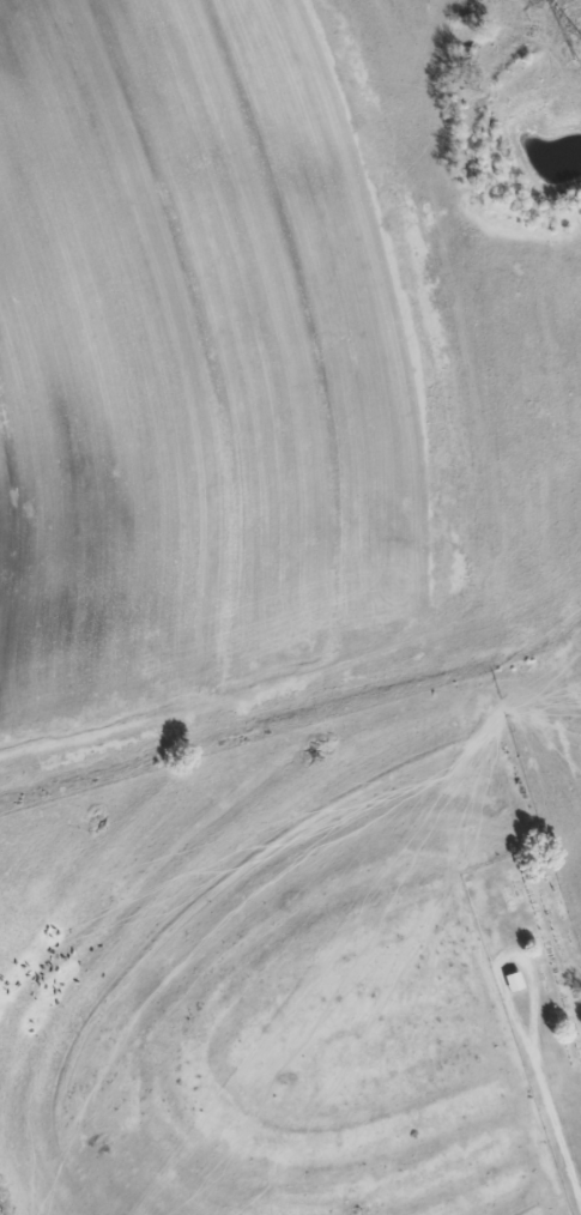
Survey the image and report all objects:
road: (506, 959)
building: (508, 981)
park: (534, 996)
road: (556, 1130)

